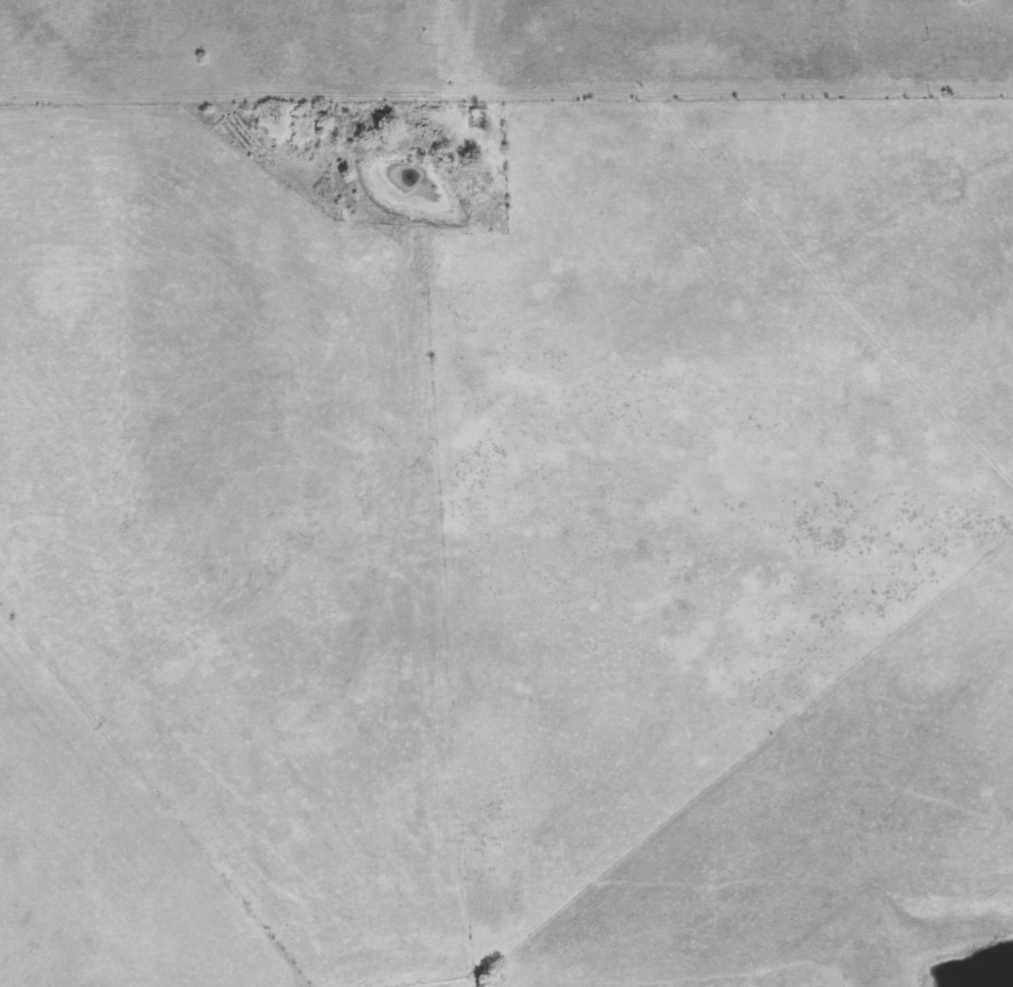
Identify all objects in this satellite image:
building: (476, 118)

